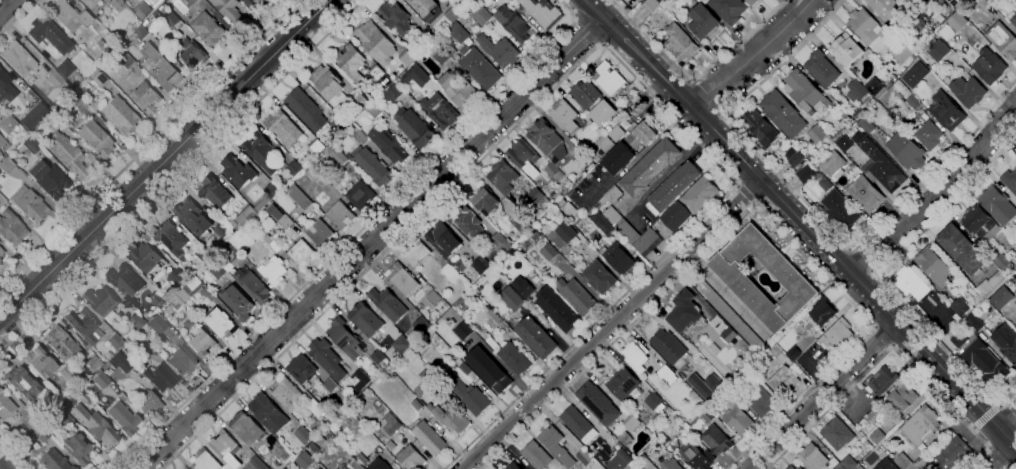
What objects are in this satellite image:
building: (475, 0)
building: (495, 0)
building: (508, 0)
building: (662, 1)
building: (88, 2)
building: (193, 2)
building: (260, 2)
building: (752, 2)
building: (954, 2)
building: (975, 2)
building: (1014, 2)
building: (939, 3)
road: (5, 5)
building: (116, 5)
building: (652, 5)
building: (470, 6)
building: (427, 8)
building: (229, 9)
building: (729, 9)
building: (142, 10)
building: (888, 10)
building: (966, 10)
building: (543, 12)
building: (156, 13)
building: (68, 15)
building: (452, 15)
road: (17, 16)
building: (482, 16)
building: (396, 18)
building: (173, 20)
building: (1014, 20)
building: (958, 21)
building: (704, 22)
building: (513, 23)
building: (917, 25)
building: (476, 29)
building: (210, 30)
building: (458, 32)
building: (142, 33)
building: (428, 34)
road: (588, 34)
building: (49, 35)
building: (879, 36)
building: (120, 39)
building: (1003, 40)
building: (680, 42)
building: (116, 43)
building: (376, 43)
building: (101, 45)
road: (597, 48)
building: (847, 49)
building: (938, 50)
building: (500, 51)
building: (193, 54)
building: (443, 55)
building: (17, 58)
building: (123, 58)
road: (758, 58)
building: (352, 64)
building: (990, 66)
building: (414, 67)
building: (0, 68)
building: (64, 68)
building: (161, 68)
building: (479, 68)
building: (822, 68)
building: (916, 74)
building: (381, 76)
road: (692, 76)
building: (54, 78)
building: (609, 78)
building: (99, 79)
building: (74, 83)
building: (329, 84)
building: (876, 87)
building: (5, 88)
building: (857, 90)
building: (969, 90)
building: (460, 91)
building: (397, 93)
building: (585, 93)
building: (806, 94)
road: (706, 95)
building: (145, 97)
building: (75, 98)
building: (883, 98)
building: (362, 100)
building: (914, 102)
building: (637, 103)
building: (871, 103)
building: (377, 105)
building: (305, 108)
building: (947, 110)
building: (440, 111)
building: (603, 113)
building: (631, 113)
building: (783, 113)
building: (563, 114)
building: (29, 115)
building: (119, 115)
building: (846, 117)
road: (726, 120)
building: (853, 121)
building: (6, 123)
building: (339, 125)
building: (867, 125)
building: (759, 126)
building: (283, 128)
building: (417, 130)
building: (850, 132)
building: (617, 133)
building: (643, 134)
building: (817, 134)
building: (929, 135)
building: (324, 136)
building: (361, 136)
building: (95, 138)
building: (33, 139)
building: (605, 143)
building: (844, 143)
building: (3, 144)
road: (148, 144)
building: (388, 145)
building: (317, 146)
building: (548, 147)
building: (907, 149)
building: (262, 151)
building: (791, 152)
building: (860, 152)
building: (0, 153)
building: (522, 154)
building: (1, 156)
building: (67, 156)
building: (339, 156)
building: (349, 157)
building: (309, 158)
building: (619, 158)
building: (581, 159)
building: (797, 159)
road: (165, 160)
building: (831, 161)
building: (6, 164)
building: (882, 164)
building: (374, 167)
building: (651, 167)
building: (296, 168)
road: (672, 169)
building: (238, 171)
building: (313, 171)
road: (939, 171)
building: (806, 174)
road: (181, 175)
building: (504, 177)
building: (48, 178)
building: (1010, 180)
building: (826, 183)
building: (0, 187)
building: (673, 187)
building: (215, 192)
road: (938, 192)
building: (866, 193)
road: (745, 194)
building: (360, 195)
building: (536, 195)
building: (612, 195)
building: (303, 200)
building: (485, 200)
building: (322, 201)
building: (284, 202)
building: (562, 202)
building: (28, 203)
building: (690, 203)
building: (597, 205)
building: (998, 205)
road: (752, 206)
building: (254, 208)
building: (272, 209)
building: (569, 210)
building: (841, 210)
building: (341, 215)
building: (558, 215)
building: (579, 215)
building: (296, 217)
building: (194, 218)
building: (464, 219)
building: (520, 220)
building: (287, 221)
road: (802, 222)
building: (981, 223)
building: (603, 224)
building: (11, 228)
building: (570, 230)
building: (630, 230)
building: (223, 232)
building: (320, 233)
building: (535, 235)
building: (440, 236)
building: (171, 237)
building: (268, 239)
road: (349, 241)
road: (372, 243)
building: (500, 243)
building: (276, 246)
building: (963, 249)
building: (301, 252)
building: (549, 252)
building: (1, 253)
building: (417, 254)
building: (204, 255)
building: (233, 255)
building: (145, 256)
building: (476, 256)
road: (862, 256)
building: (619, 258)
building: (1004, 262)
building: (934, 266)
building: (274, 270)
building: (219, 271)
building: (450, 273)
road: (868, 273)
building: (158, 275)
building: (178, 277)
building: (600, 277)
building: (402, 278)
building: (736, 278)
building: (1014, 278)
building: (127, 282)
building: (911, 283)
building: (992, 284)
building: (1015, 284)
building: (253, 285)
building: (525, 289)
building: (186, 292)
building: (576, 296)
building: (433, 297)
building: (511, 298)
building: (1002, 298)
building: (158, 299)
building: (463, 302)
building: (104, 303)
building: (238, 303)
building: (388, 304)
building: (961, 306)
building: (558, 311)
building: (822, 311)
building: (685, 312)
building: (730, 315)
building: (488, 317)
building: (136, 318)
building: (366, 319)
building: (975, 322)
building: (220, 323)
building: (156, 324)
road: (612, 324)
building: (85, 325)
building: (421, 325)
building: (994, 325)
building: (691, 328)
building: (430, 332)
building: (509, 332)
building: (468, 335)
building: (837, 335)
road: (880, 336)
building: (535, 337)
building: (728, 337)
building: (958, 337)
building: (435, 338)
building: (345, 339)
building: (115, 341)
building: (201, 341)
building: (1006, 341)
building: (139, 342)
building: (61, 343)
building: (492, 343)
building: (402, 344)
building: (807, 345)
building: (668, 346)
road: (889, 346)
building: (163, 347)
building: (775, 350)
building: (795, 353)
building: (636, 355)
building: (377, 356)
building: (514, 358)
building: (327, 359)
building: (38, 360)
building: (182, 361)
building: (985, 361)
building: (682, 364)
building: (126, 367)
building: (302, 369)
building: (468, 371)
building: (976, 371)
building: (82, 372)
building: (491, 372)
building: (667, 375)
building: (749, 375)
building: (159, 377)
building: (426, 377)
building: (362, 378)
building: (100, 380)
building: (784, 381)
building: (882, 381)
building: (21, 382)
building: (623, 383)
building: (331, 385)
building: (87, 386)
building: (709, 387)
building: (420, 390)
building: (443, 390)
building: (287, 392)
road: (824, 396)
building: (470, 397)
building: (727, 397)
building: (902, 397)
building: (61, 398)
building: (76, 398)
building: (760, 401)
building: (655, 402)
building: (148, 403)
building: (417, 404)
building: (599, 405)
building: (5, 406)
building: (317, 408)
building: (60, 413)
building: (268, 413)
building: (708, 415)
building: (871, 416)
building: (123, 418)
road: (985, 418)
building: (451, 419)
building: (738, 420)
building: (27, 421)
road: (1008, 422)
building: (631, 423)
building: (392, 424)
building: (579, 424)
building: (921, 425)
building: (98, 427)
building: (21, 428)
building: (246, 428)
building: (39, 434)
building: (837, 434)
building: (303, 435)
building: (877, 436)
building: (429, 438)
building: (625, 438)
building: (321, 439)
building: (717, 440)
building: (367, 441)
building: (668, 441)
building: (664, 443)
building: (391, 445)
building: (556, 445)
building: (886, 445)
building: (227, 448)
building: (315, 448)
building: (76, 449)
building: (282, 451)
building: (893, 451)
road: (10, 452)
building: (374, 453)
building: (953, 454)
building: (536, 456)
building: (697, 456)
building: (411, 457)
building: (813, 457)
road: (1003, 457)
building: (361, 459)
building: (588, 459)
building: (621, 459)
building: (53, 460)
building: (205, 460)
building: (305, 460)
road: (992, 460)
building: (903, 461)
building: (258, 463)
building: (850, 463)
building: (355, 464)
building: (379, 464)
building: (648, 464)
building: (670, 464)
building: (511, 465)
building: (886, 465)
building: (840, 466)
road: (0, 467)
building: (227, 467)
building: (791, 467)
building: (799, 467)
building: (184, 468)
building: (270, 468)
building: (345, 468)
road: (1009, 468)

